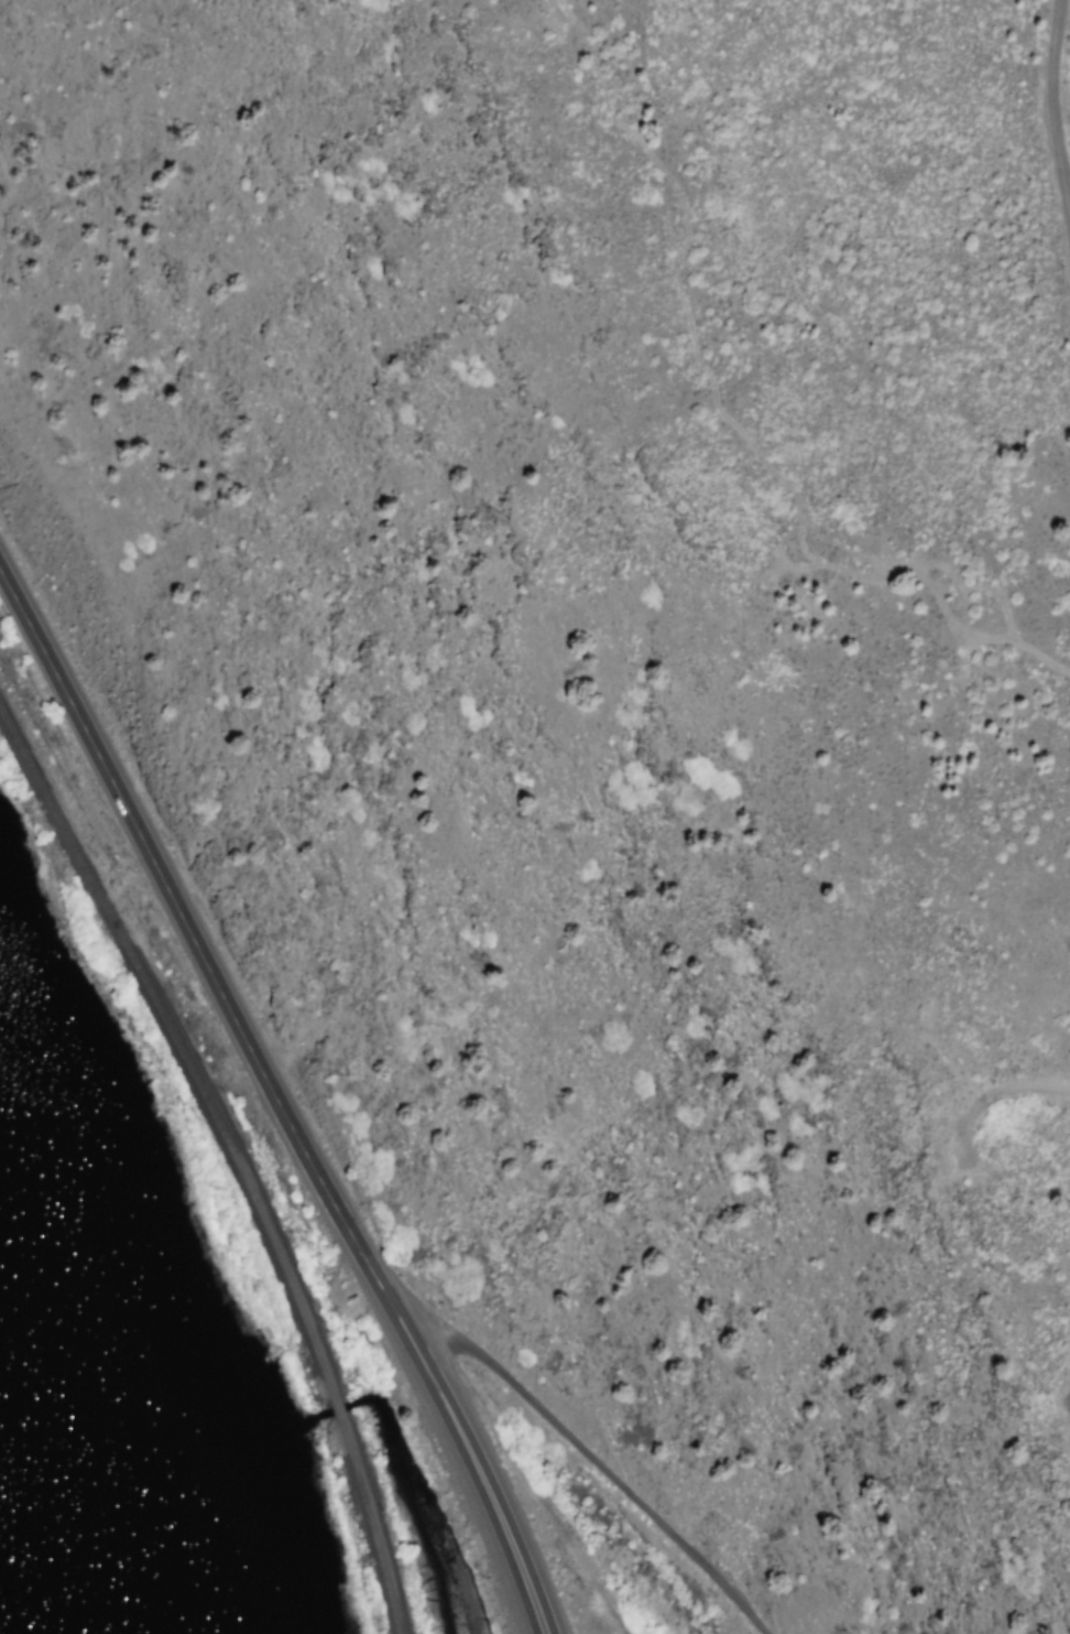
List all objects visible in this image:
road: (1047, 113)
railway: (176, 1052)
road: (283, 1102)
railway: (336, 1409)
road: (589, 1456)
road: (529, 1480)
railway: (369, 1525)

